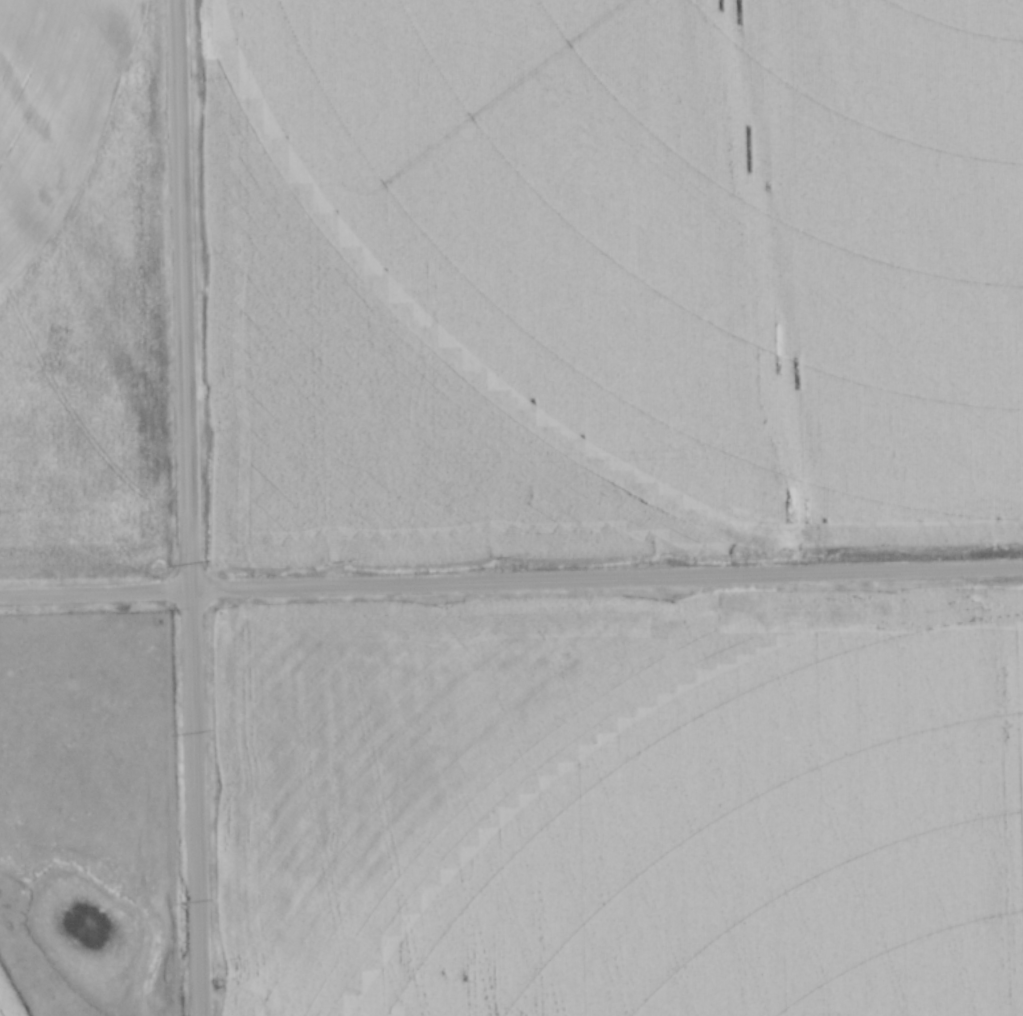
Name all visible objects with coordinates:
road: (190, 508)
road: (511, 581)

